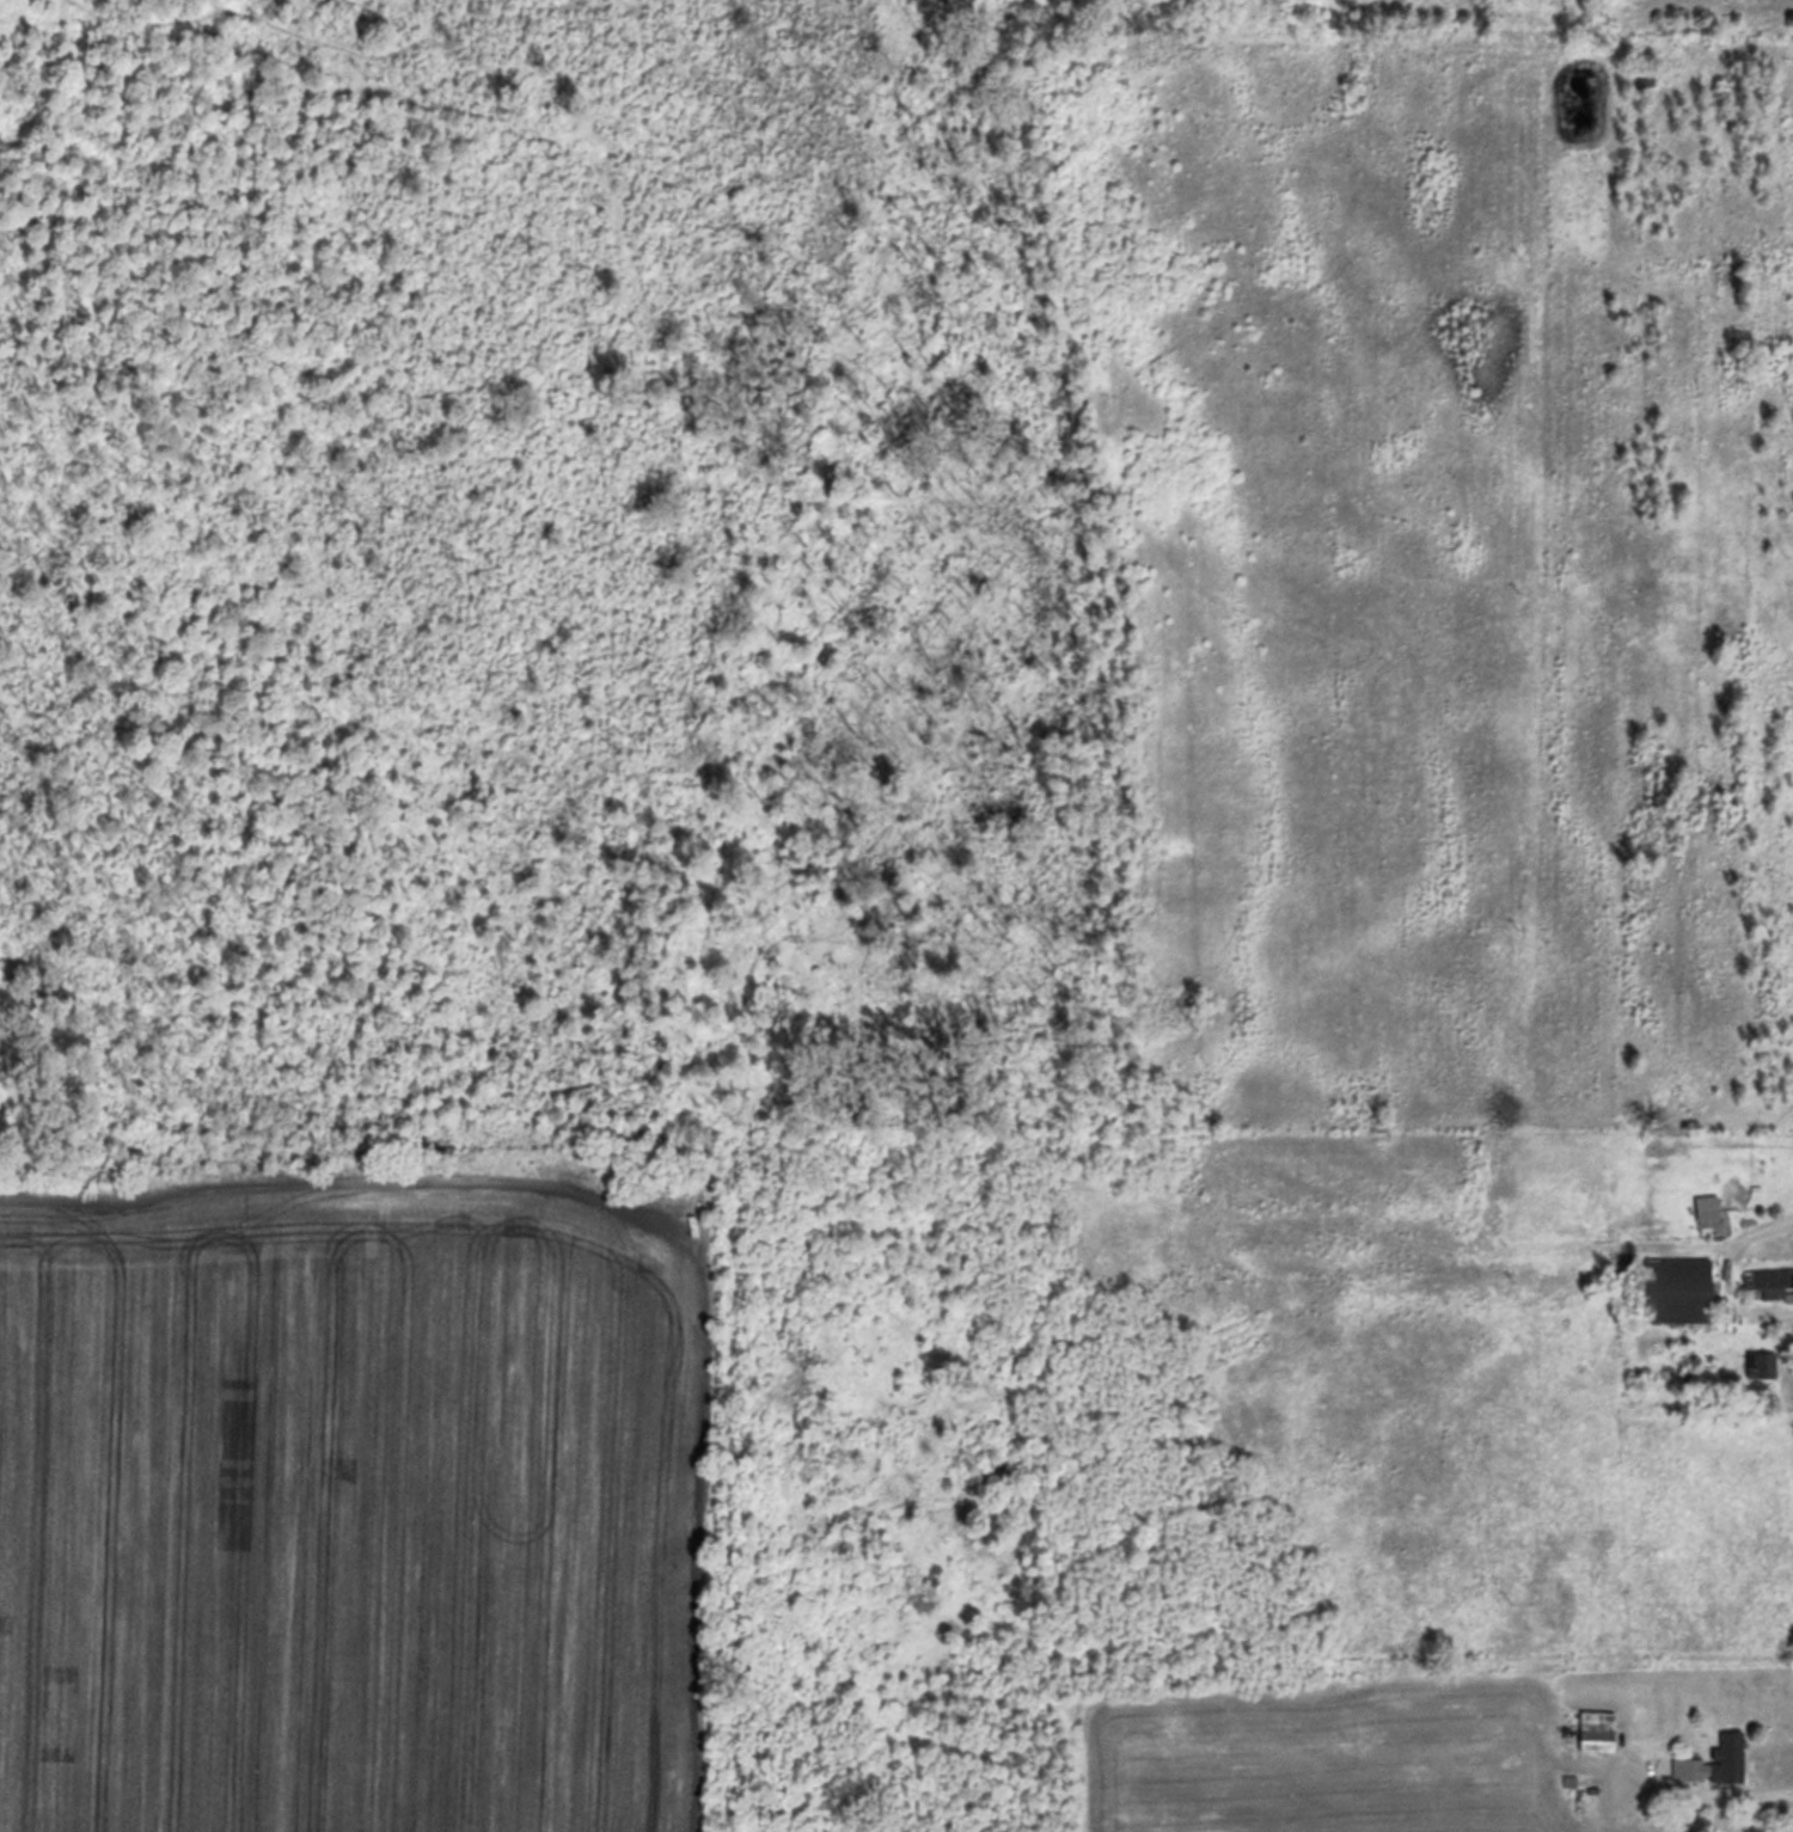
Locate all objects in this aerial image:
building: (1654, 109)
road: (1711, 1268)
building: (1770, 1281)
building: (1675, 1288)
building: (1758, 1362)
building: (1596, 1728)
building: (1713, 1759)

